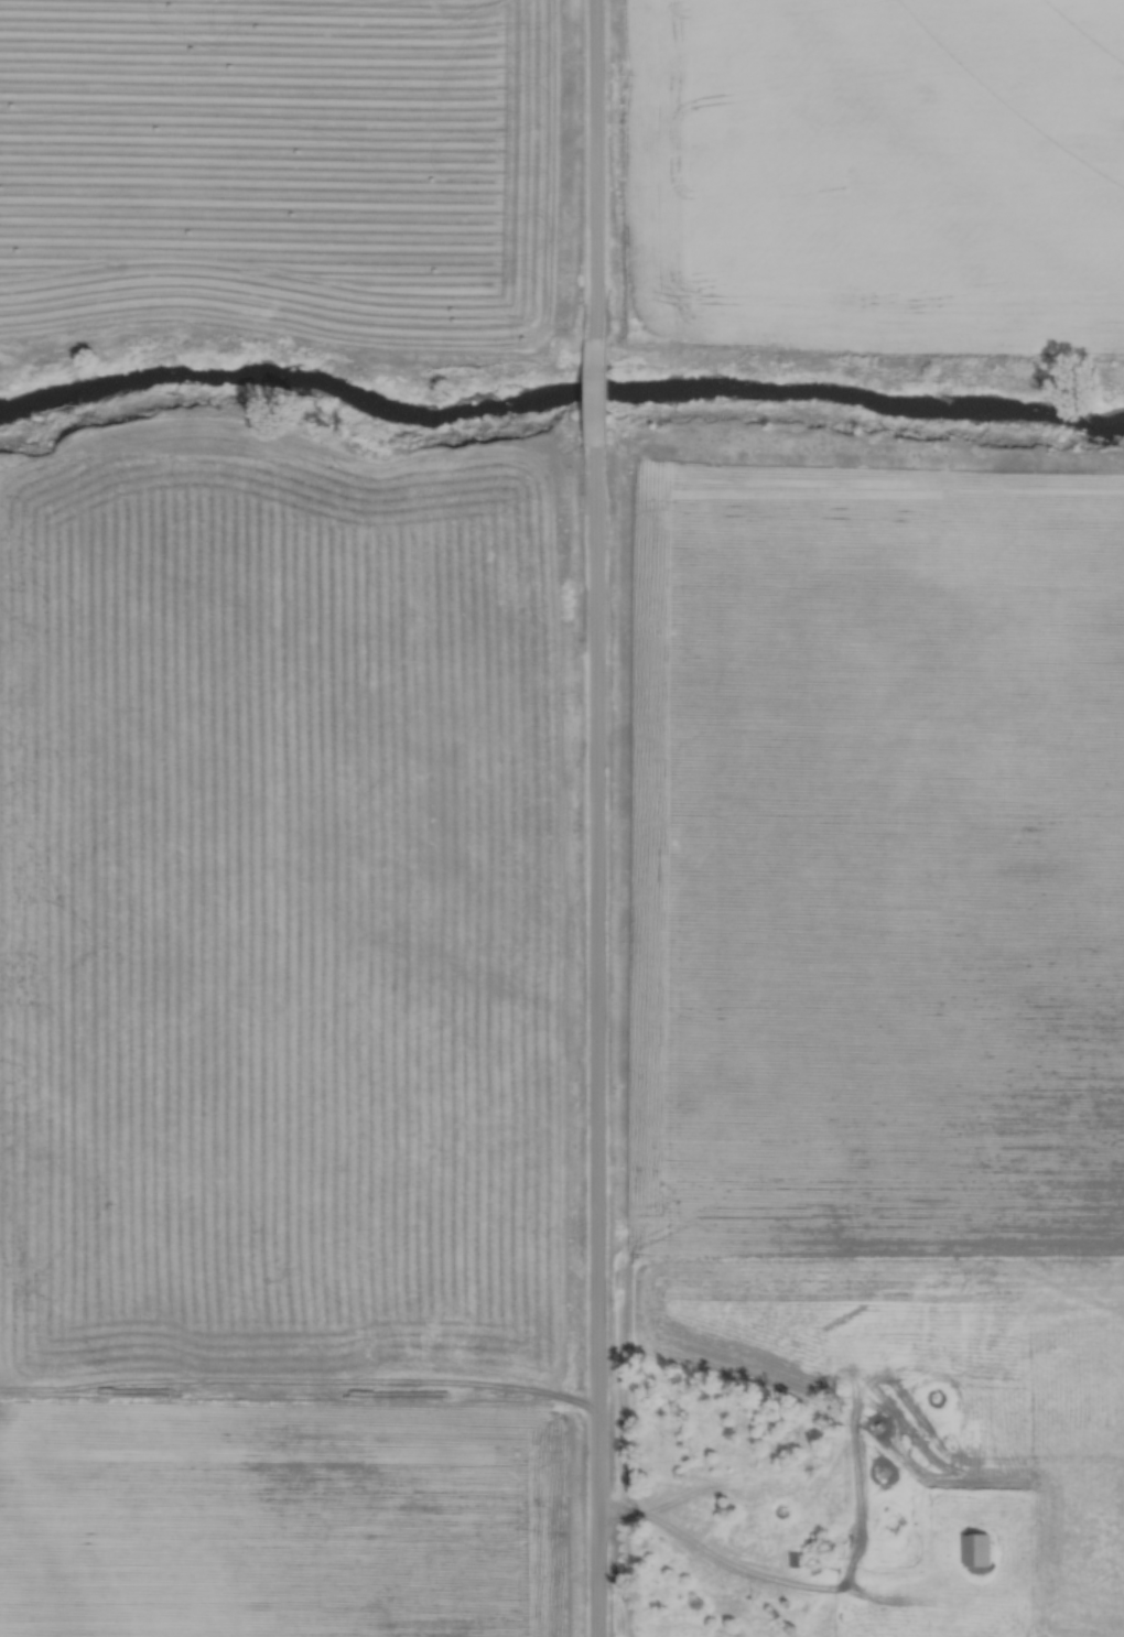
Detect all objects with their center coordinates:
road: (593, 173)
river: (555, 398)
road: (596, 419)
road: (595, 1064)
building: (979, 1548)
road: (707, 1555)

